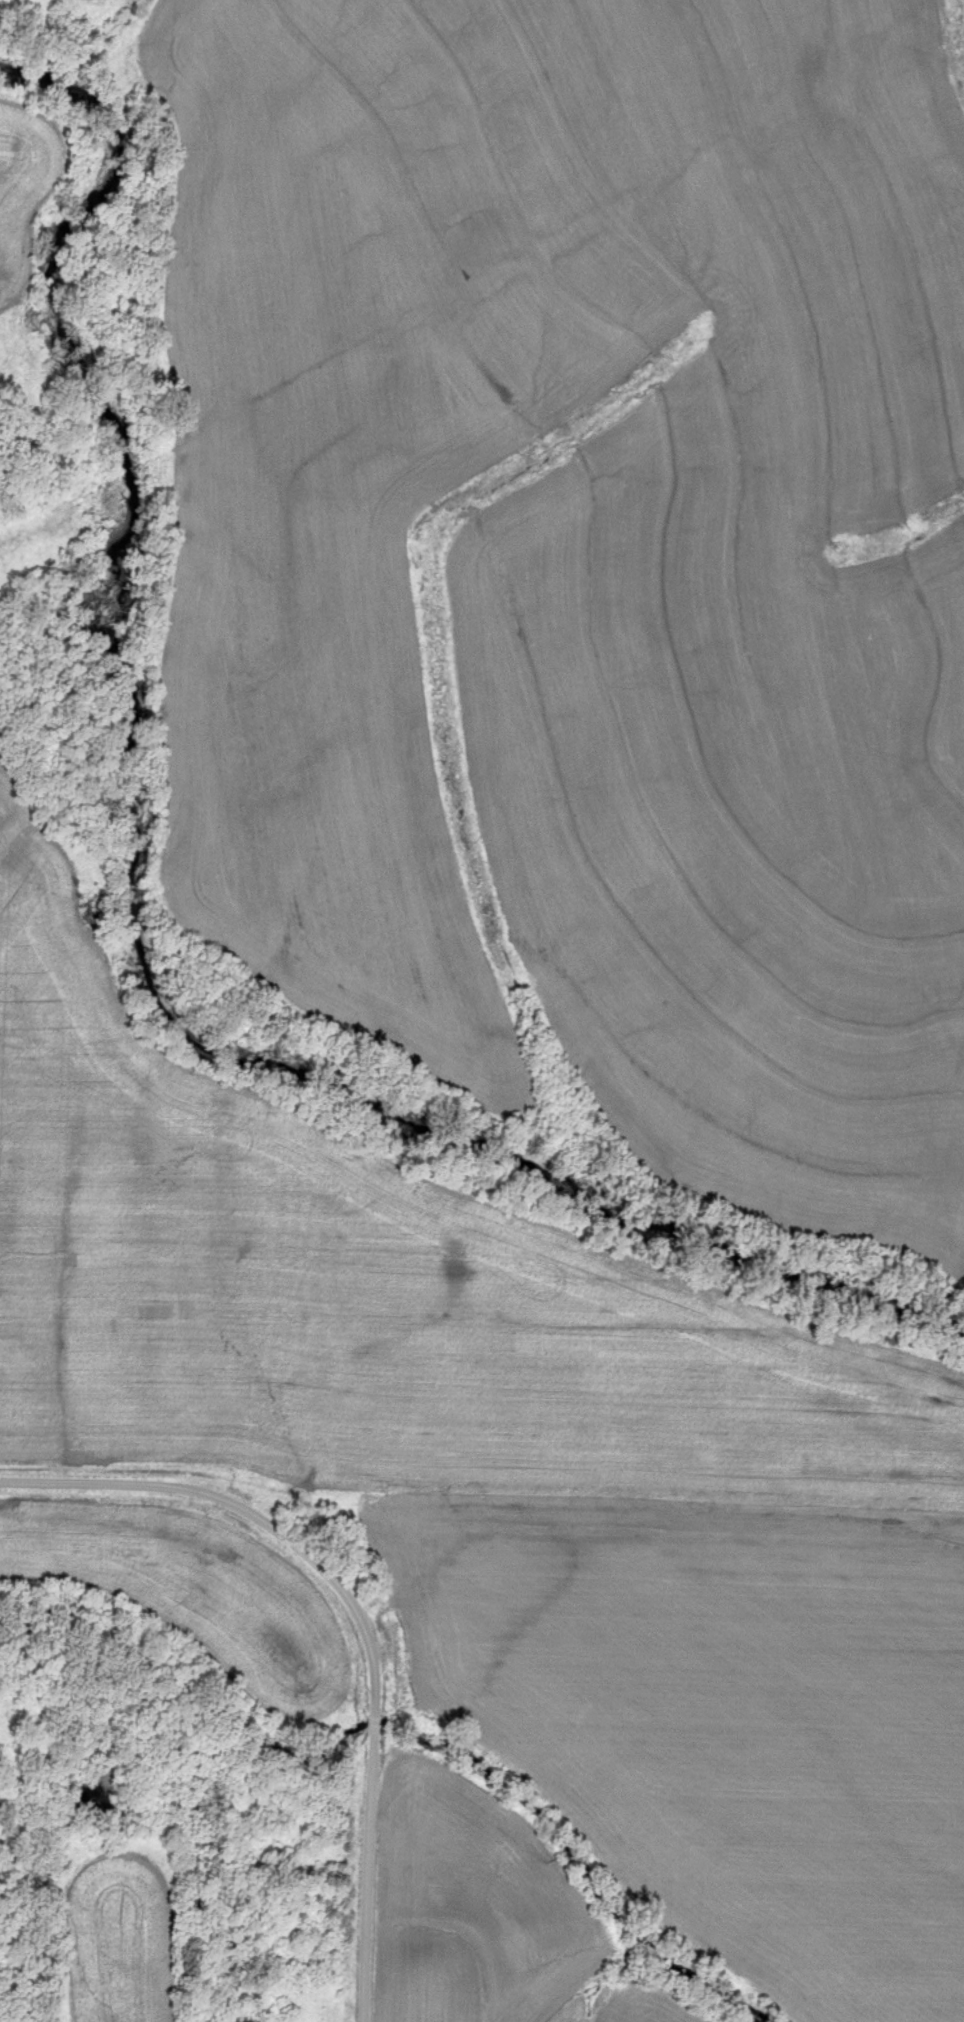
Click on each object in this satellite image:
road: (363, 1612)

